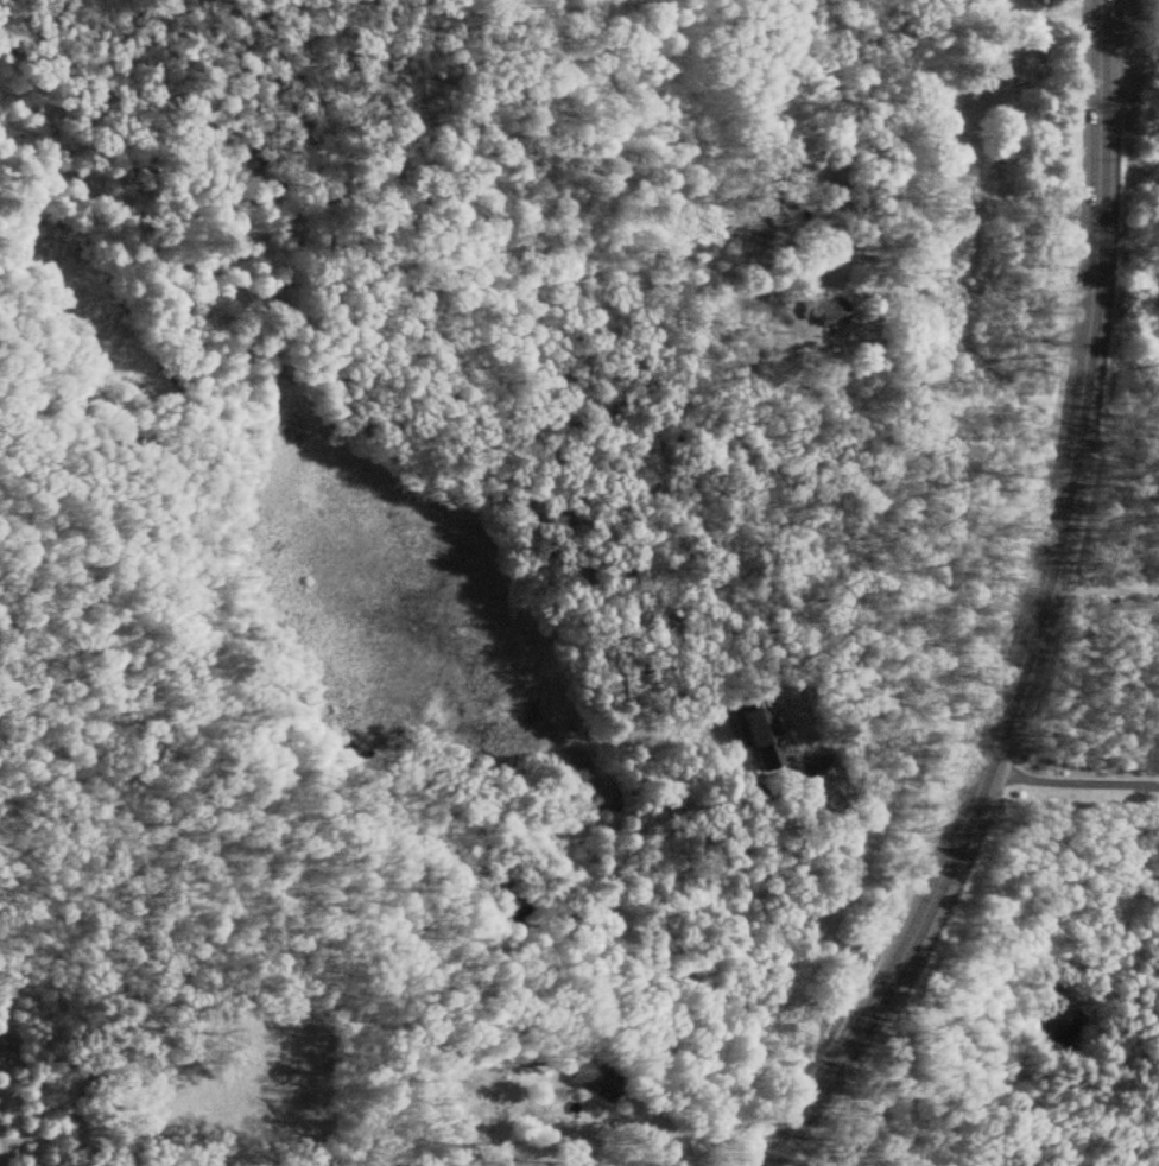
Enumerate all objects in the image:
road: (645, 15)
road: (1123, 59)
building: (981, 61)
building: (936, 154)
building: (788, 190)
building: (822, 313)
road: (1095, 579)
road: (1020, 609)
building: (749, 733)
road: (907, 754)
road: (1063, 775)
road: (897, 1071)
building: (579, 1083)
road: (623, 1122)

